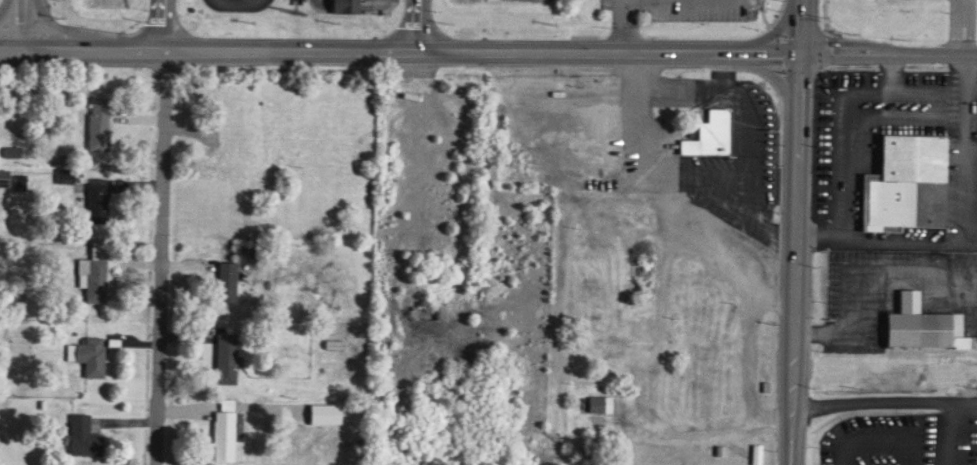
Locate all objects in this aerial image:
road: (801, 4)
building: (347, 6)
road: (7, 8)
road: (619, 8)
road: (49, 25)
road: (22, 26)
road: (162, 26)
road: (418, 27)
road: (962, 27)
road: (775, 31)
road: (800, 32)
road: (619, 35)
road: (10, 52)
road: (45, 52)
road: (81, 52)
road: (399, 54)
road: (729, 55)
road: (775, 55)
traffic signals: (800, 55)
road: (832, 55)
road: (920, 56)
road: (799, 73)
road: (774, 74)
building: (96, 120)
road: (643, 120)
building: (712, 133)
road: (798, 133)
road: (834, 136)
building: (755, 140)
road: (964, 144)
building: (9, 148)
building: (17, 179)
building: (905, 189)
building: (95, 200)
road: (159, 258)
road: (795, 261)
building: (95, 269)
building: (224, 278)
road: (843, 324)
building: (919, 329)
building: (86, 353)
building: (223, 356)
building: (597, 401)
road: (884, 401)
road: (792, 406)
building: (320, 411)
building: (221, 429)
building: (81, 433)

